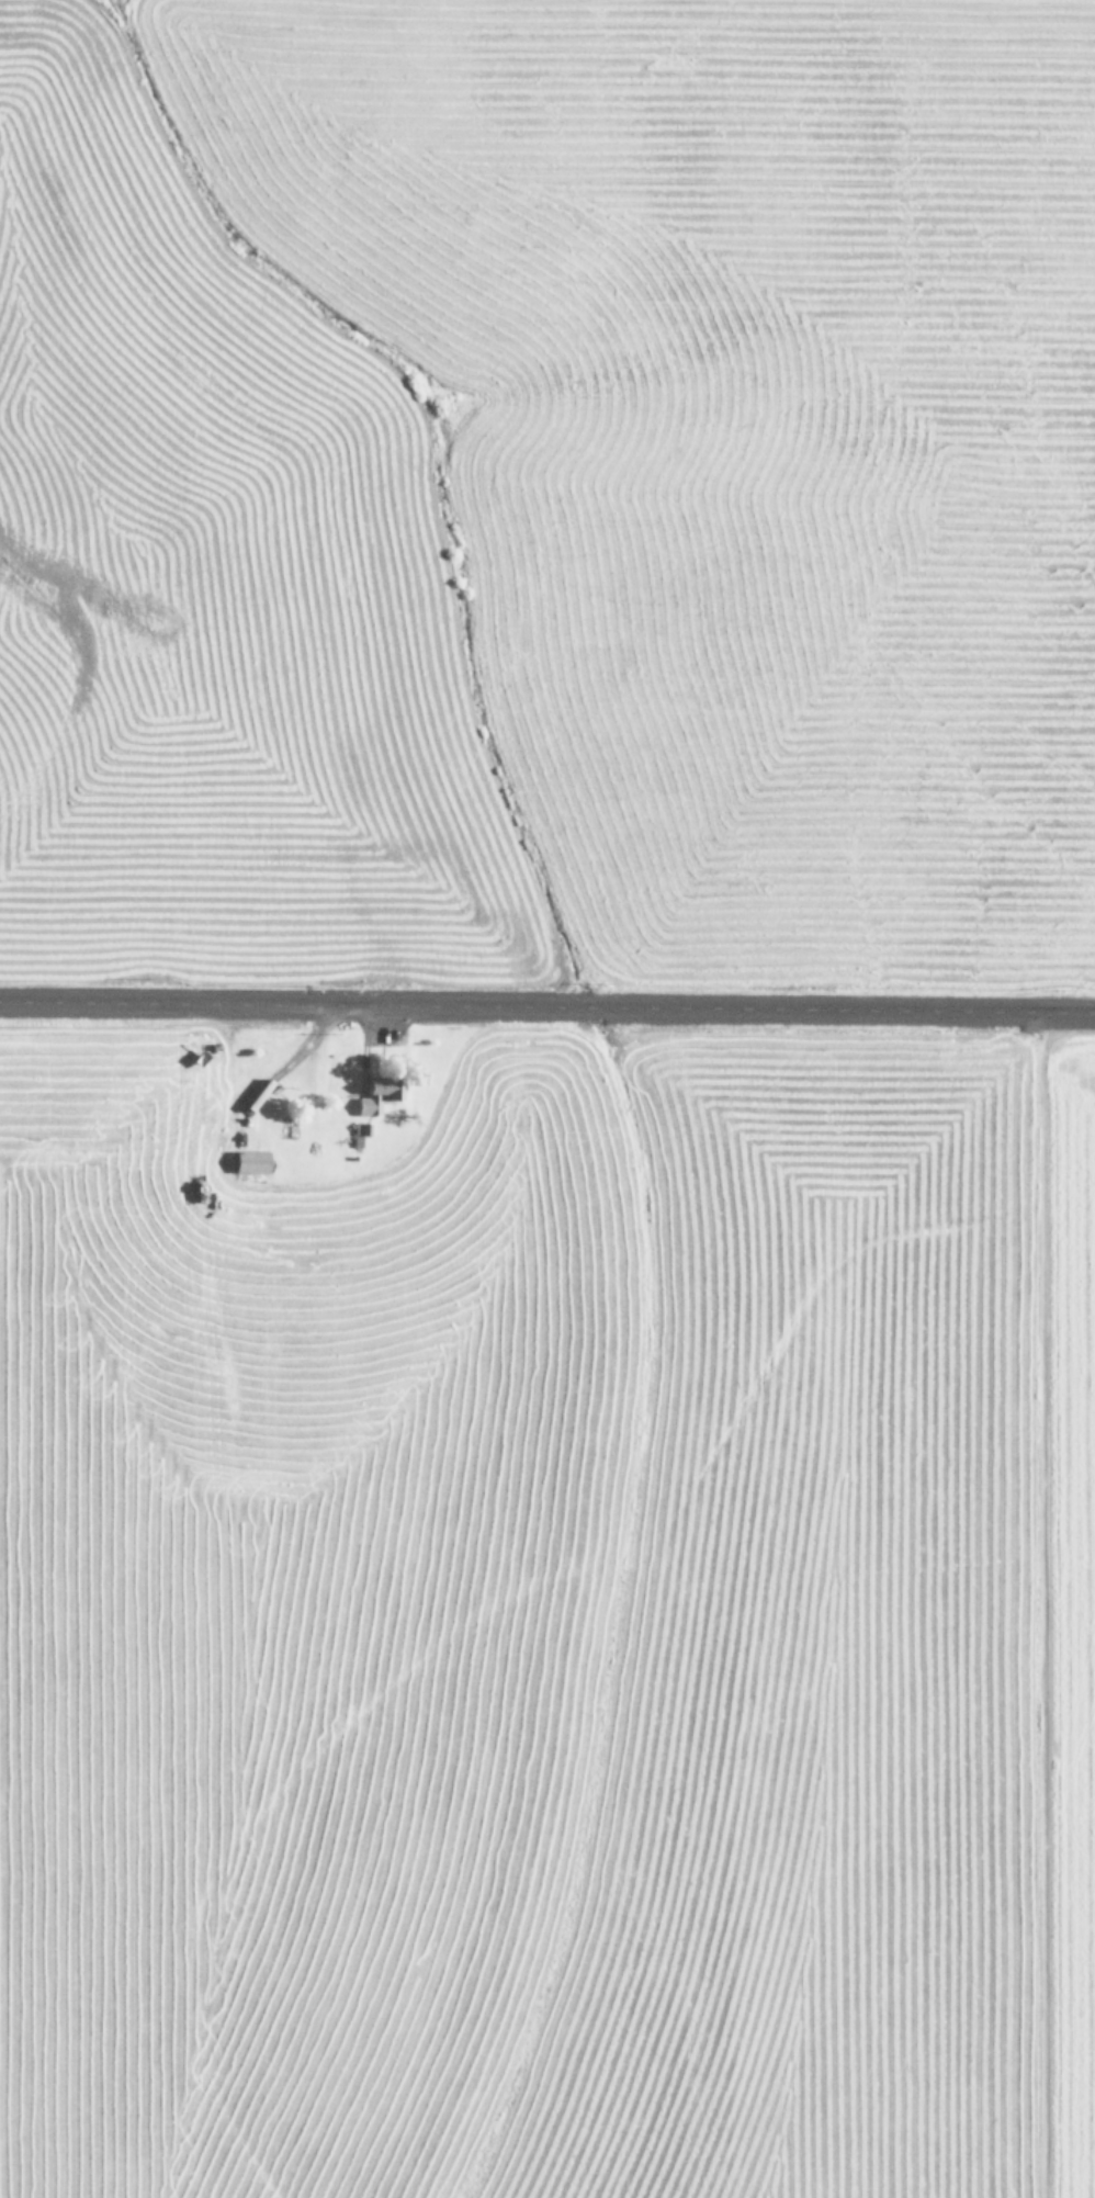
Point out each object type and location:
crop: (547, 489)
road: (547, 1008)
building: (255, 1162)
crop: (546, 1612)

